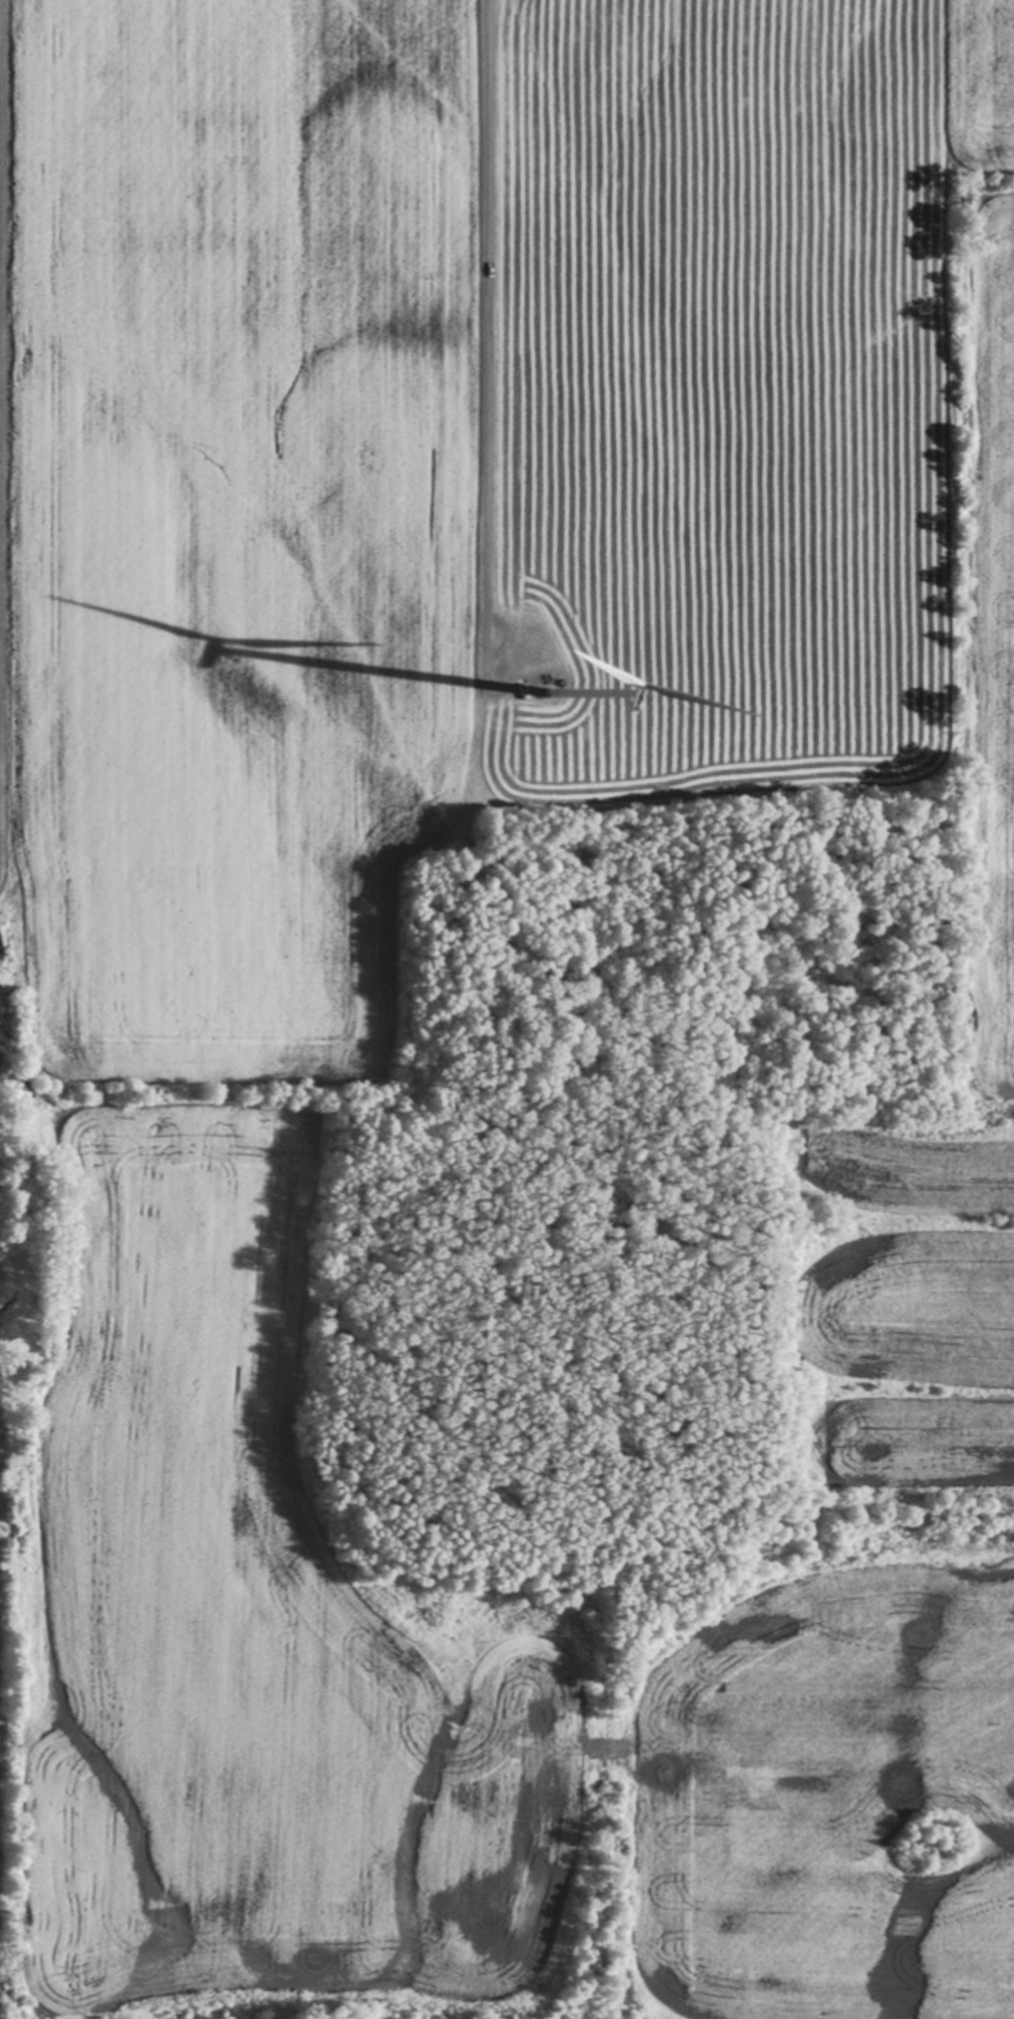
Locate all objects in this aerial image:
road: (483, 353)
wind turbine: (544, 690)

